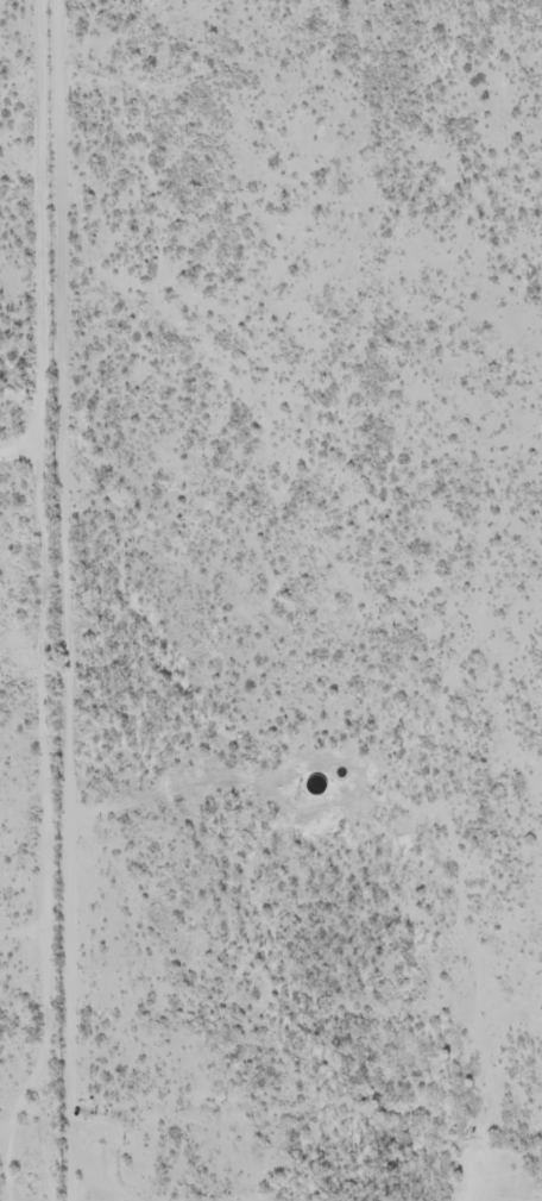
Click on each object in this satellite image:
road: (48, 806)

